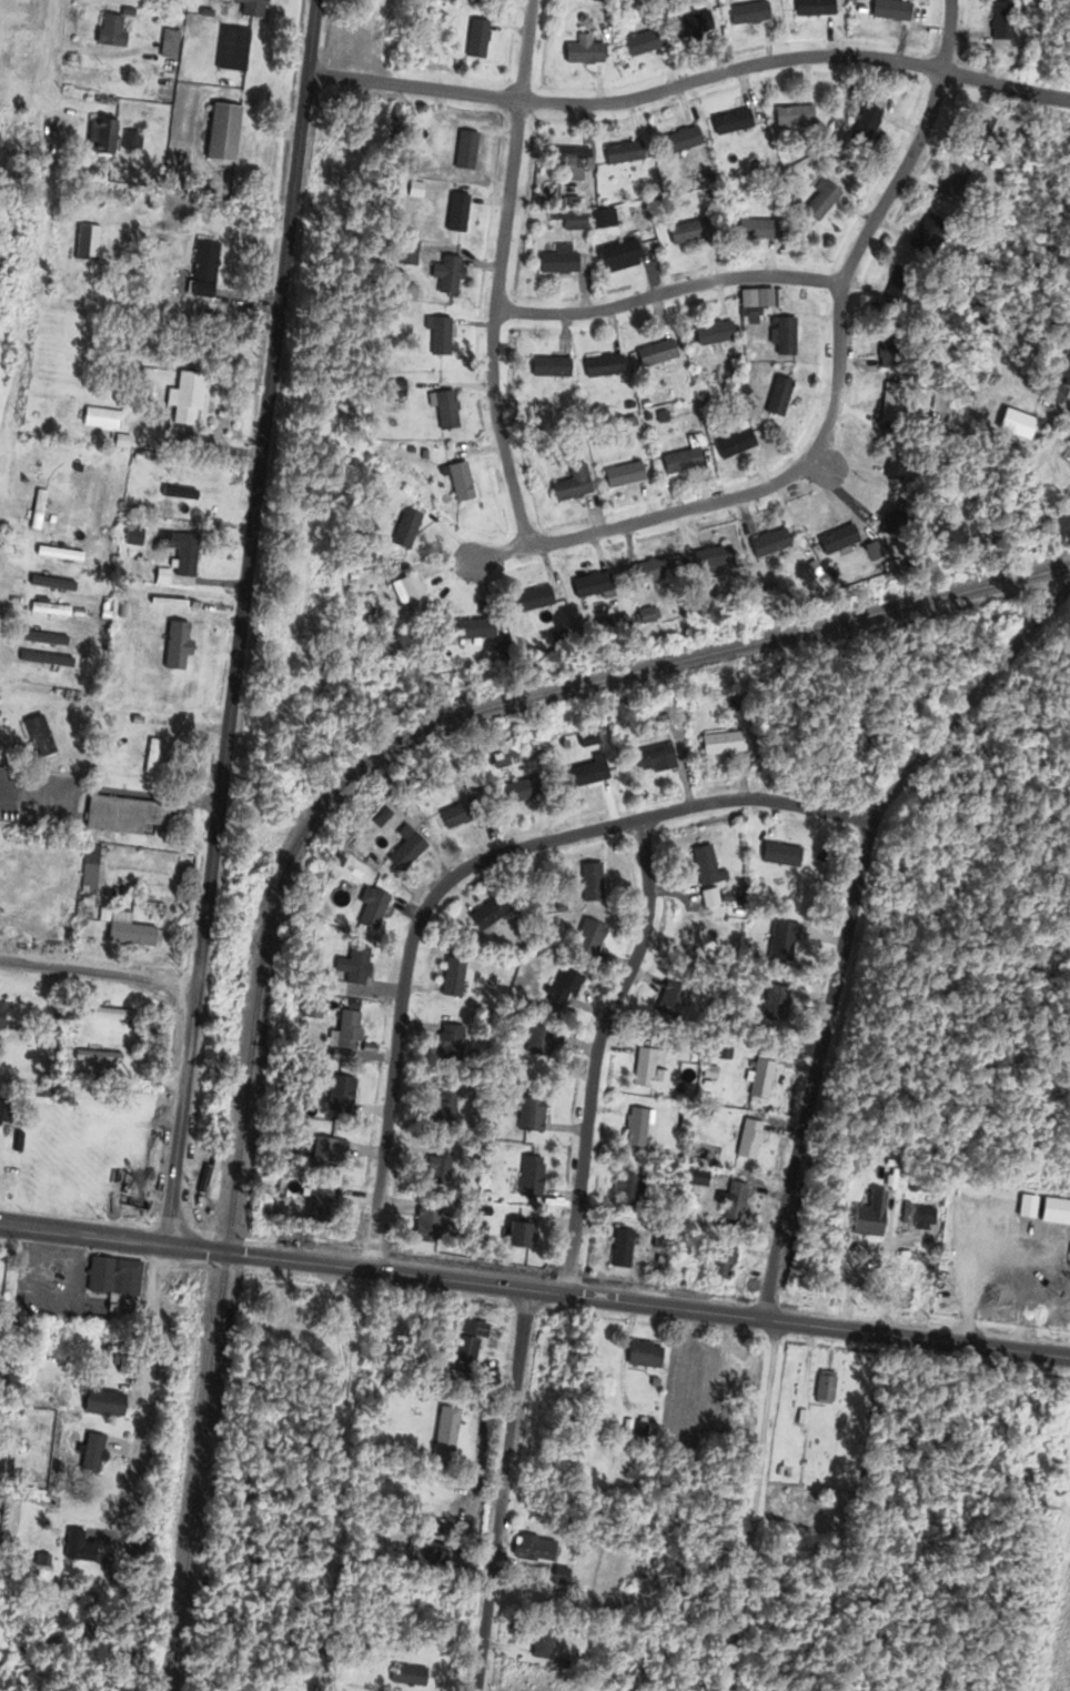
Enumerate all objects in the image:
building: (808, 8)
building: (249, 9)
building: (888, 10)
building: (746, 14)
building: (997, 21)
building: (688, 26)
building: (109, 31)
building: (475, 40)
building: (642, 43)
road: (50, 48)
building: (231, 50)
building: (166, 51)
building: (582, 54)
road: (689, 81)
building: (791, 117)
building: (729, 122)
building: (862, 124)
building: (977, 129)
building: (220, 133)
building: (100, 138)
building: (678, 141)
building: (463, 151)
building: (622, 153)
building: (567, 159)
building: (948, 184)
building: (817, 201)
building: (455, 214)
building: (602, 220)
building: (572, 222)
building: (758, 230)
building: (685, 233)
building: (922, 235)
building: (83, 244)
building: (617, 256)
building: (556, 261)
building: (202, 270)
road: (497, 274)
building: (446, 276)
road: (23, 284)
building: (897, 289)
road: (667, 291)
building: (711, 334)
building: (437, 338)
building: (783, 338)
building: (886, 348)
building: (654, 355)
building: (600, 368)
road: (835, 368)
building: (548, 369)
building: (1057, 384)
building: (776, 397)
building: (185, 399)
building: (443, 410)
building: (888, 413)
building: (733, 444)
building: (1069, 445)
building: (679, 462)
building: (620, 476)
building: (457, 483)
building: (571, 486)
building: (195, 489)
building: (34, 511)
building: (896, 521)
building: (403, 530)
building: (132, 537)
building: (836, 540)
building: (766, 544)
building: (57, 554)
road: (497, 555)
building: (183, 558)
building: (709, 560)
building: (652, 571)
building: (589, 585)
building: (412, 594)
building: (531, 601)
building: (47, 611)
road: (239, 622)
building: (472, 631)
building: (41, 640)
building: (43, 661)
railway: (593, 673)
building: (37, 739)
building: (723, 744)
building: (148, 757)
building: (652, 757)
building: (586, 775)
road: (128, 793)
building: (521, 793)
building: (124, 813)
building: (463, 813)
building: (404, 849)
building: (778, 855)
building: (701, 865)
road: (465, 868)
building: (88, 869)
building: (588, 883)
building: (370, 908)
building: (487, 913)
road: (848, 919)
building: (123, 929)
building: (585, 942)
building: (780, 943)
building: (352, 967)
road: (98, 970)
building: (451, 978)
building: (315, 984)
building: (562, 988)
building: (669, 1001)
building: (773, 1004)
building: (311, 1008)
building: (0, 1011)
building: (111, 1015)
building: (345, 1030)
building: (542, 1041)
building: (447, 1043)
road: (596, 1051)
building: (94, 1057)
building: (643, 1068)
building: (759, 1079)
building: (339, 1094)
building: (443, 1104)
building: (3, 1111)
building: (528, 1114)
building: (747, 1140)
building: (325, 1151)
building: (438, 1167)
building: (528, 1177)
building: (627, 1188)
building: (733, 1201)
building: (317, 1202)
building: (1024, 1206)
building: (868, 1216)
building: (922, 1218)
building: (425, 1226)
building: (515, 1235)
building: (619, 1248)
building: (721, 1260)
road: (971, 1270)
building: (111, 1277)
road: (535, 1289)
building: (900, 1299)
railway: (215, 1332)
building: (642, 1355)
building: (822, 1389)
building: (101, 1402)
road: (139, 1412)
building: (797, 1419)
building: (443, 1433)
building: (90, 1453)
road: (501, 1489)
railway: (184, 1514)
building: (71, 1546)
building: (532, 1548)
building: (426, 1554)
building: (243, 1559)
building: (539, 1642)
building: (408, 1681)

